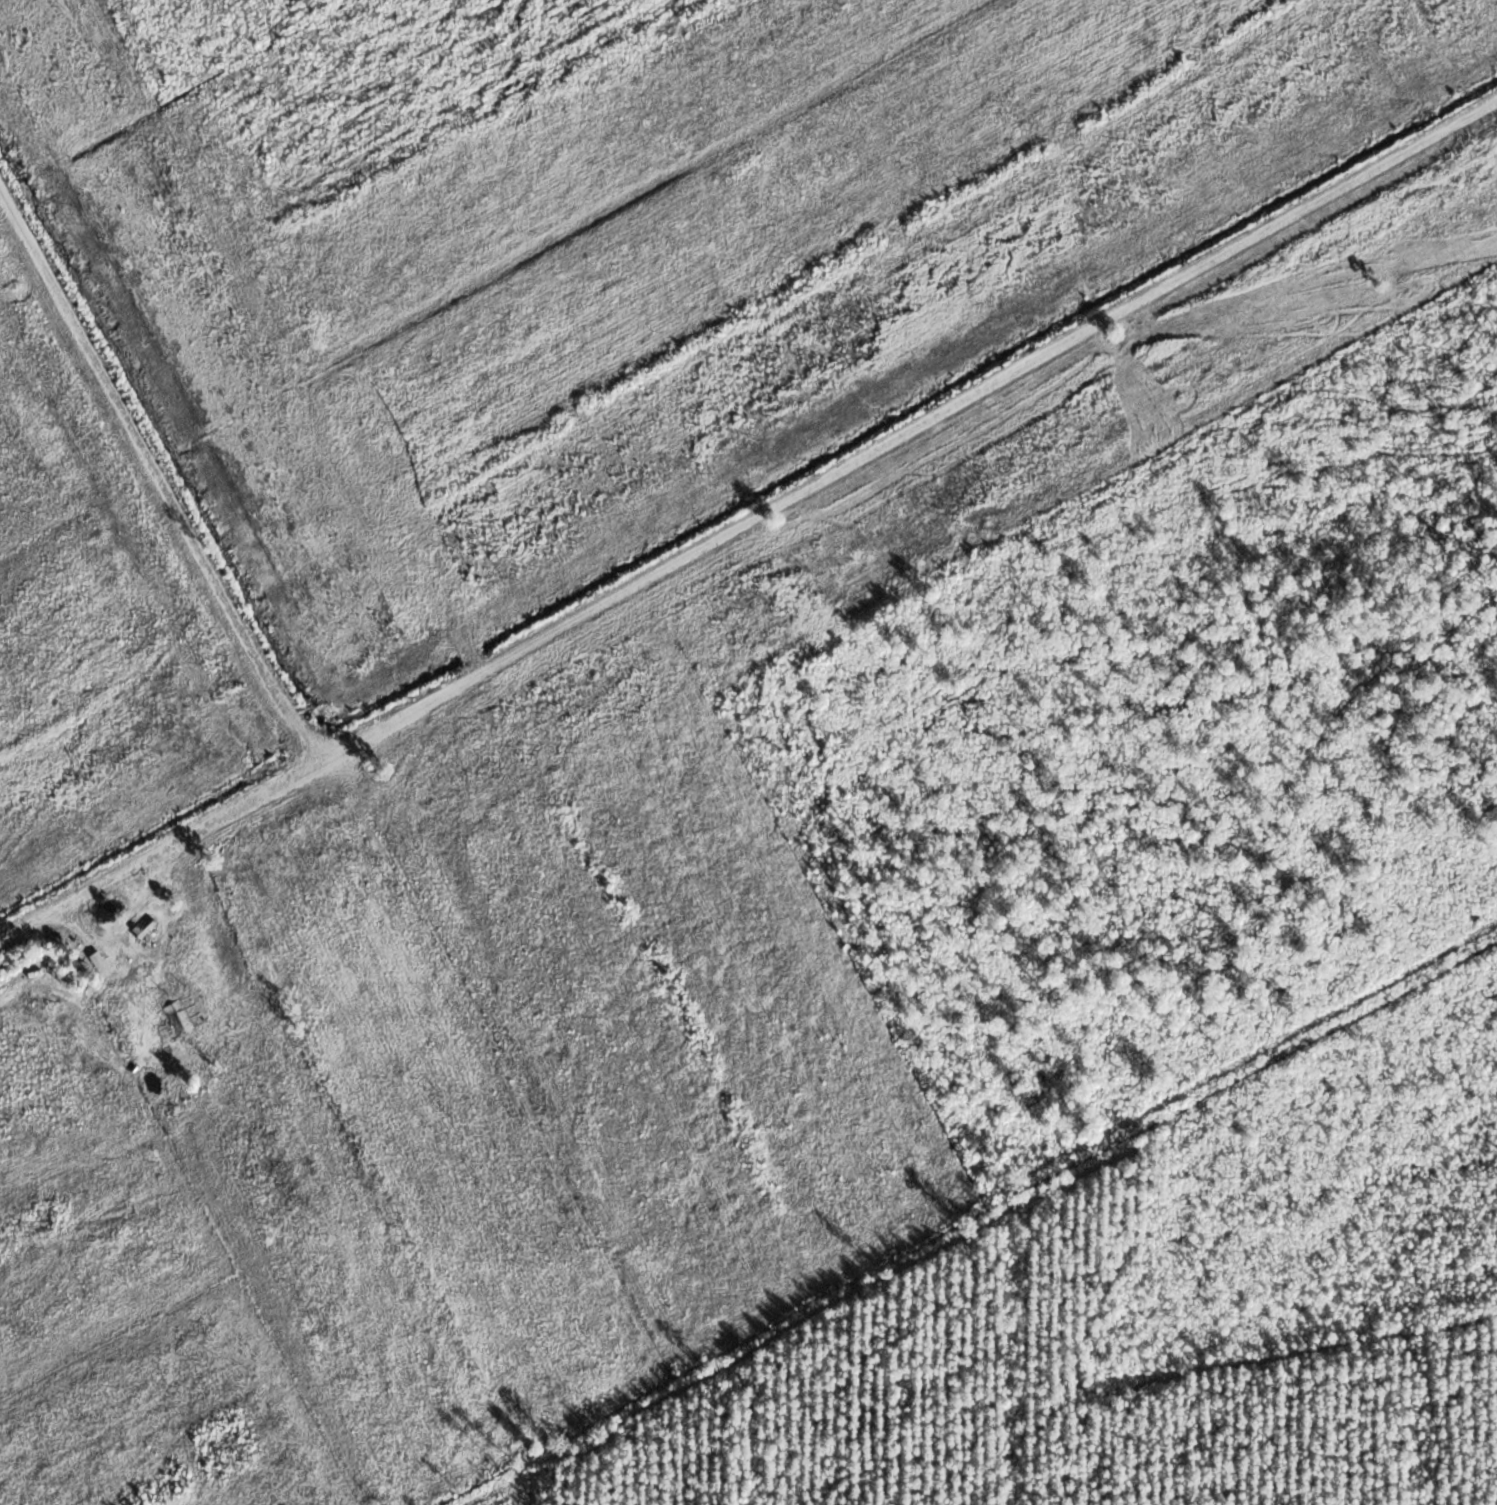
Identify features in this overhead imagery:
road: (150, 547)
road: (747, 574)
building: (144, 925)
building: (97, 957)

